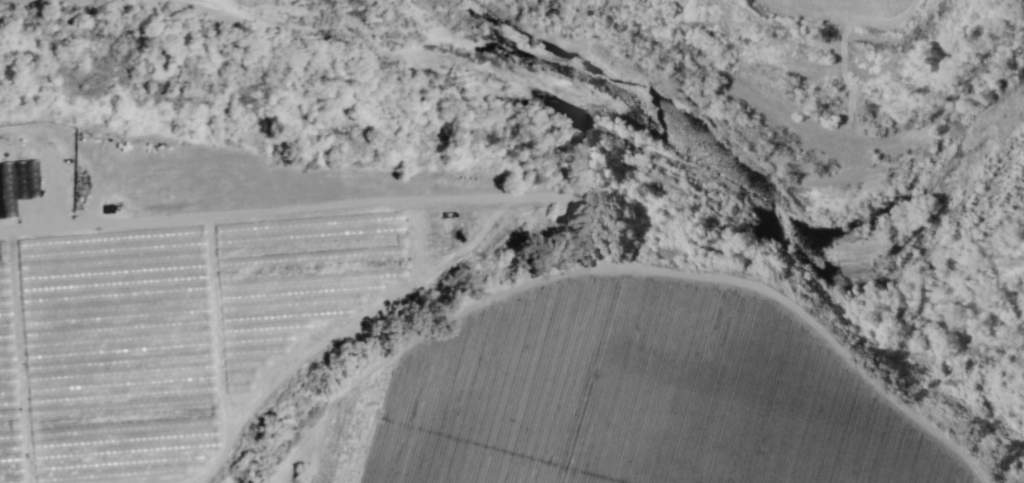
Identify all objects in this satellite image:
river: (723, 182)
building: (11, 186)
crop: (402, 336)

